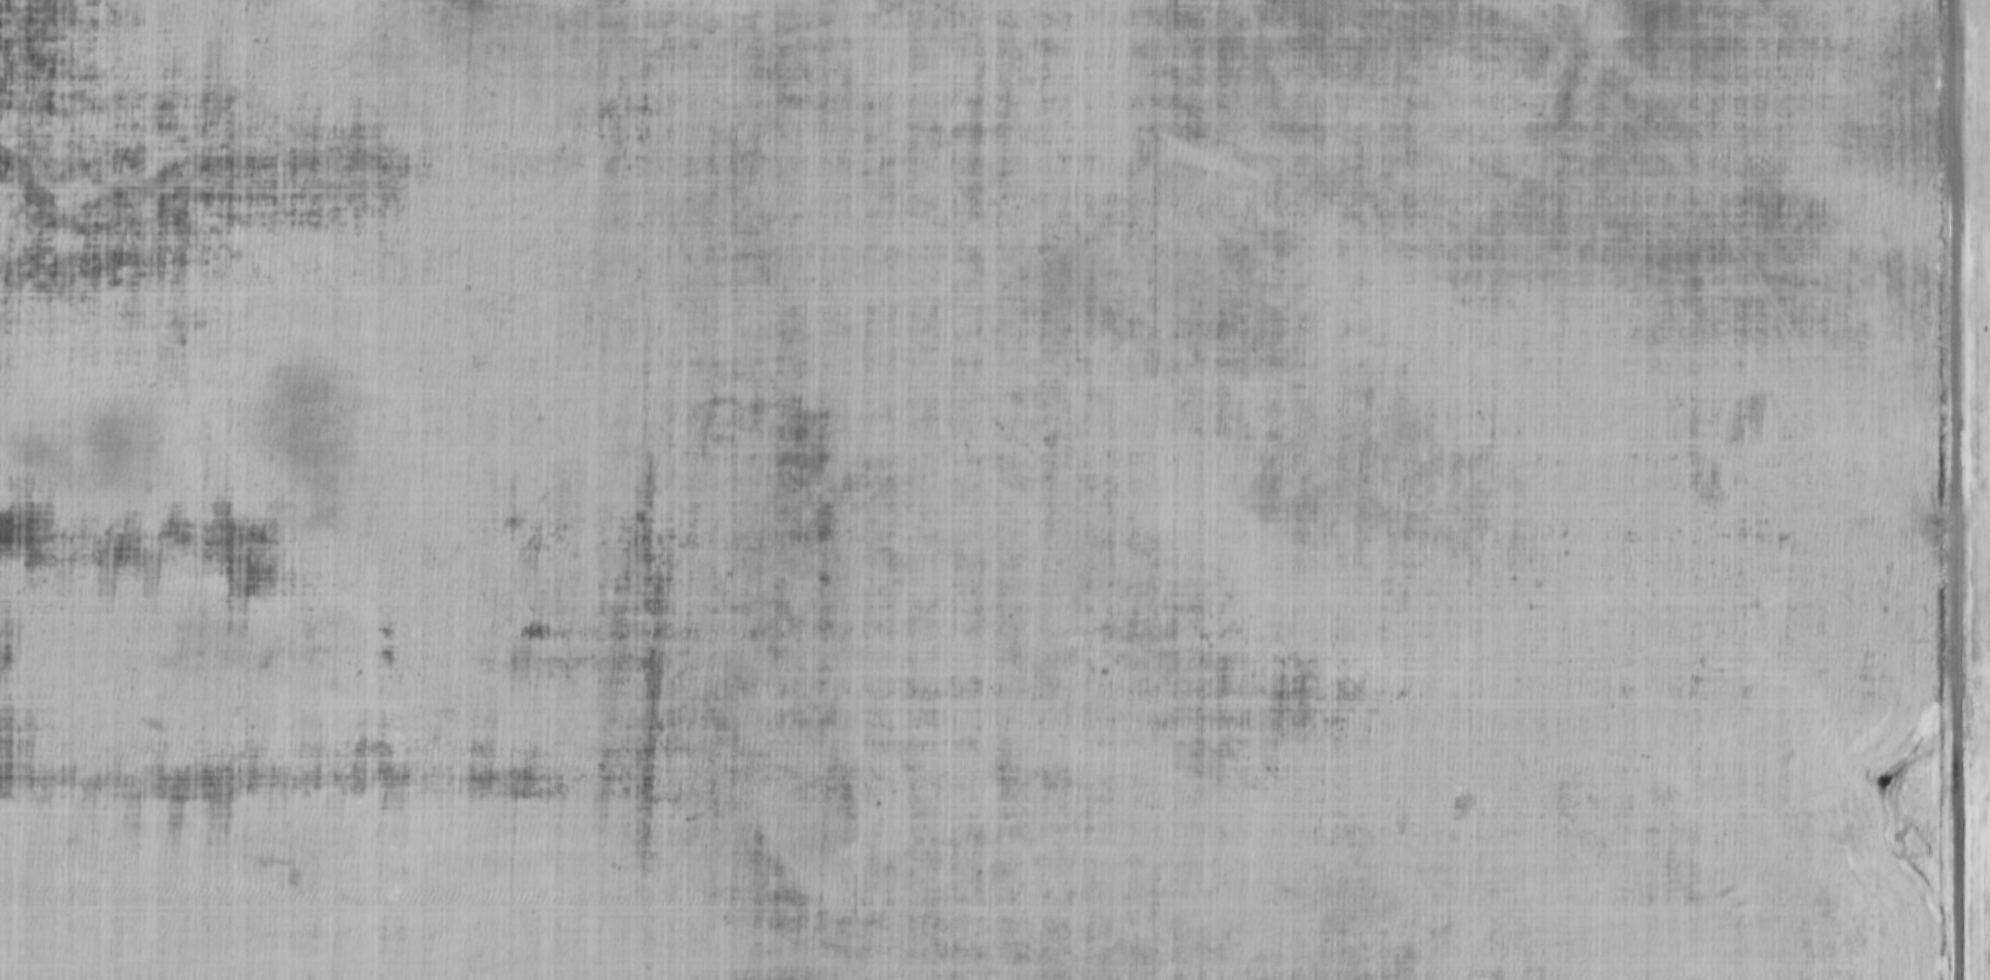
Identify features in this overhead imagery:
road: (1957, 490)

